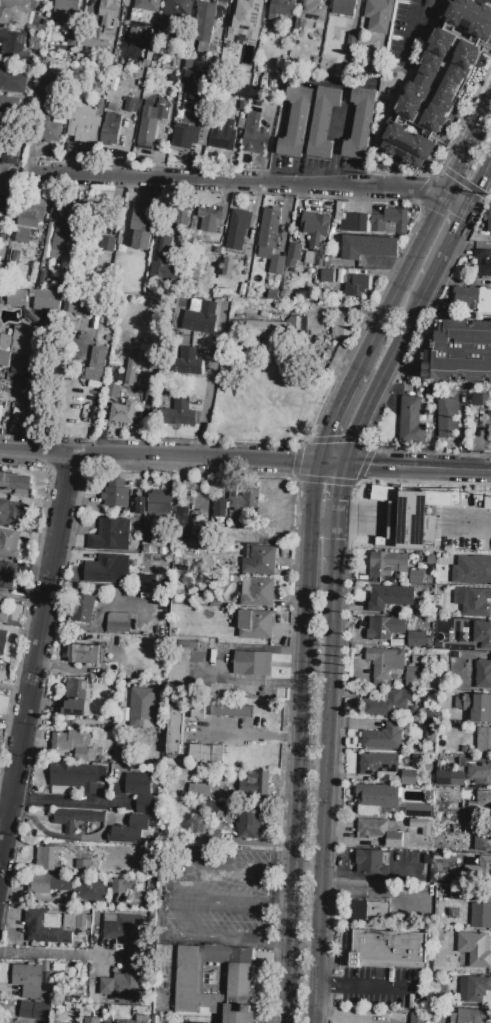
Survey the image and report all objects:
building: (147, 5)
building: (344, 8)
building: (281, 9)
building: (12, 10)
building: (65, 10)
building: (313, 10)
building: (109, 11)
building: (177, 13)
building: (379, 16)
building: (248, 18)
building: (204, 22)
building: (136, 33)
building: (94, 38)
building: (351, 44)
building: (12, 45)
building: (13, 79)
building: (438, 82)
building: (46, 87)
building: (11, 107)
building: (296, 122)
building: (323, 122)
building: (362, 123)
building: (151, 124)
building: (86, 125)
building: (111, 130)
building: (223, 134)
building: (254, 134)
building: (183, 136)
road: (468, 151)
building: (5, 180)
road: (243, 183)
road: (480, 184)
road: (458, 200)
building: (31, 212)
building: (213, 219)
building: (489, 220)
building: (389, 221)
building: (357, 223)
building: (142, 226)
building: (238, 229)
building: (269, 229)
building: (315, 229)
building: (65, 233)
building: (23, 236)
building: (107, 244)
road: (448, 244)
building: (369, 247)
building: (293, 255)
building: (163, 258)
building: (483, 263)
building: (277, 265)
building: (228, 267)
building: (327, 276)
road: (402, 282)
building: (354, 286)
building: (273, 295)
building: (16, 297)
building: (472, 299)
building: (48, 300)
building: (78, 306)
building: (201, 318)
building: (297, 324)
building: (256, 326)
building: (342, 327)
building: (17, 344)
building: (459, 351)
building: (186, 363)
building: (17, 364)
building: (131, 368)
building: (94, 371)
road: (381, 372)
road: (210, 383)
building: (113, 390)
building: (430, 391)
building: (480, 400)
building: (123, 412)
building: (178, 414)
road: (336, 416)
building: (448, 419)
building: (411, 421)
building: (489, 423)
traffic signals: (328, 437)
road: (158, 458)
traffic signals: (292, 463)
road: (331, 464)
traffic signals: (367, 466)
road: (417, 468)
building: (15, 483)
traffic signals: (341, 486)
road: (312, 490)
road: (339, 491)
building: (119, 498)
building: (244, 498)
building: (201, 505)
building: (141, 506)
building: (219, 508)
building: (13, 513)
road: (324, 518)
building: (397, 521)
building: (181, 523)
building: (111, 536)
building: (9, 543)
road: (335, 543)
building: (473, 543)
building: (259, 561)
building: (387, 563)
building: (101, 569)
building: (472, 571)
building: (7, 575)
building: (415, 576)
building: (257, 593)
building: (390, 596)
building: (473, 602)
building: (4, 609)
building: (82, 609)
building: (118, 623)
building: (254, 624)
building: (384, 628)
building: (482, 634)
building: (415, 638)
building: (4, 642)
building: (83, 654)
building: (385, 662)
building: (251, 664)
road: (36, 665)
building: (482, 676)
building: (413, 677)
building: (75, 699)
building: (390, 703)
building: (198, 707)
building: (144, 708)
building: (481, 709)
building: (231, 710)
building: (174, 730)
road: (257, 736)
building: (383, 737)
building: (70, 740)
building: (483, 742)
building: (205, 752)
building: (85, 755)
building: (377, 764)
road: (300, 770)
building: (479, 771)
building: (75, 777)
building: (407, 777)
building: (449, 778)
building: (255, 784)
building: (139, 791)
building: (199, 791)
road: (324, 795)
building: (377, 796)
building: (483, 800)
road: (59, 801)
building: (74, 819)
building: (249, 820)
building: (422, 826)
building: (132, 831)
building: (380, 831)
road: (60, 837)
building: (482, 841)
building: (47, 859)
road: (216, 862)
building: (370, 862)
building: (484, 865)
building: (82, 866)
road: (370, 874)
building: (49, 883)
building: (122, 886)
building: (92, 890)
building: (471, 892)
road: (370, 893)
parking lot: (219, 895)
road: (31, 897)
building: (369, 910)
road: (166, 914)
building: (480, 916)
building: (45, 927)
building: (120, 929)
building: (475, 949)
building: (389, 950)
road: (50, 952)
building: (211, 977)
building: (27, 980)
road: (321, 984)
road: (374, 986)
building: (120, 987)
building: (474, 989)
building: (35, 1011)
building: (238, 1013)
building: (472, 1016)
building: (417, 1018)
building: (91, 1020)
building: (128, 1020)

